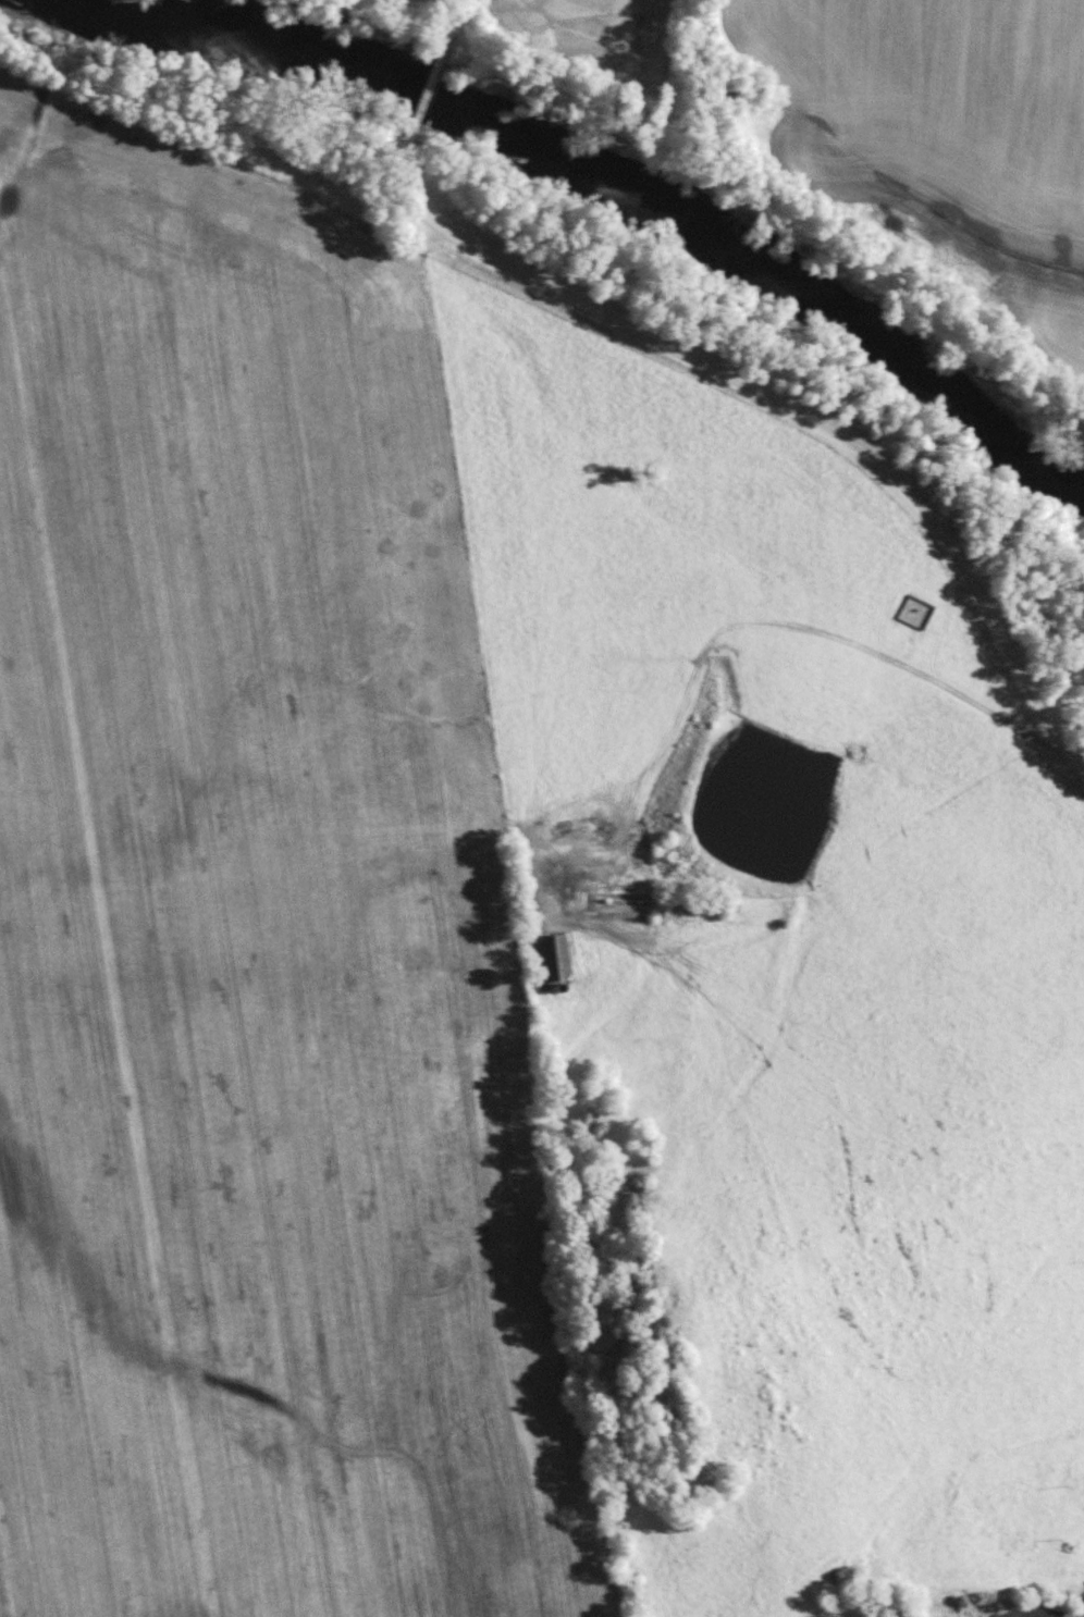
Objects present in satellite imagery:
road: (447, 24)
road: (423, 95)
river: (619, 171)
road: (737, 416)
park: (912, 612)
building: (553, 956)

